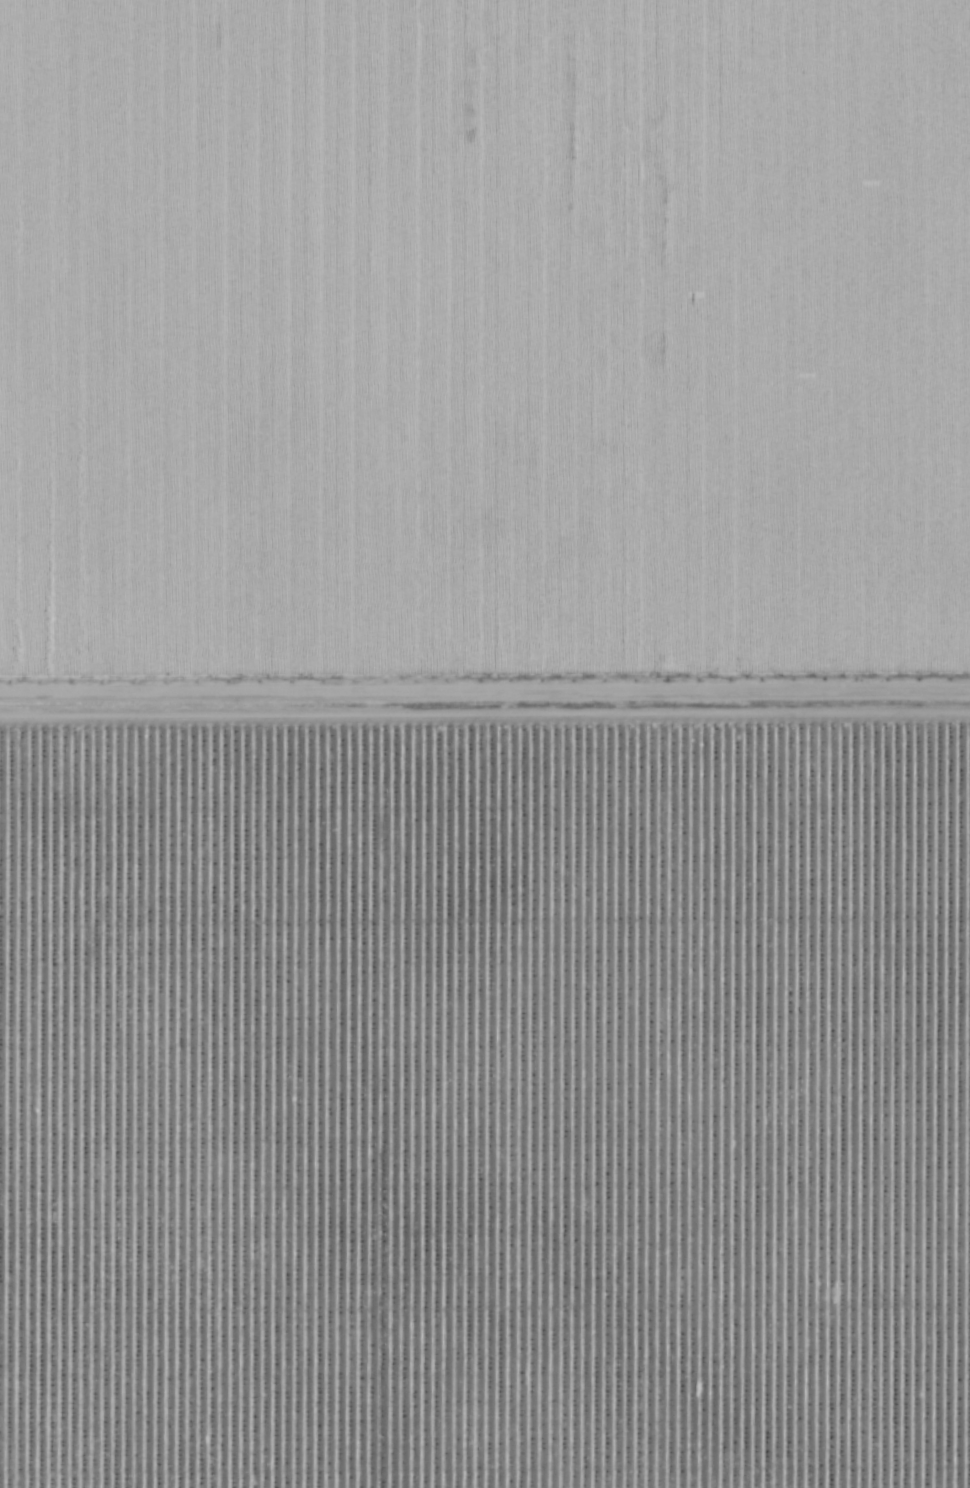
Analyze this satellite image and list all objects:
road: (485, 684)

